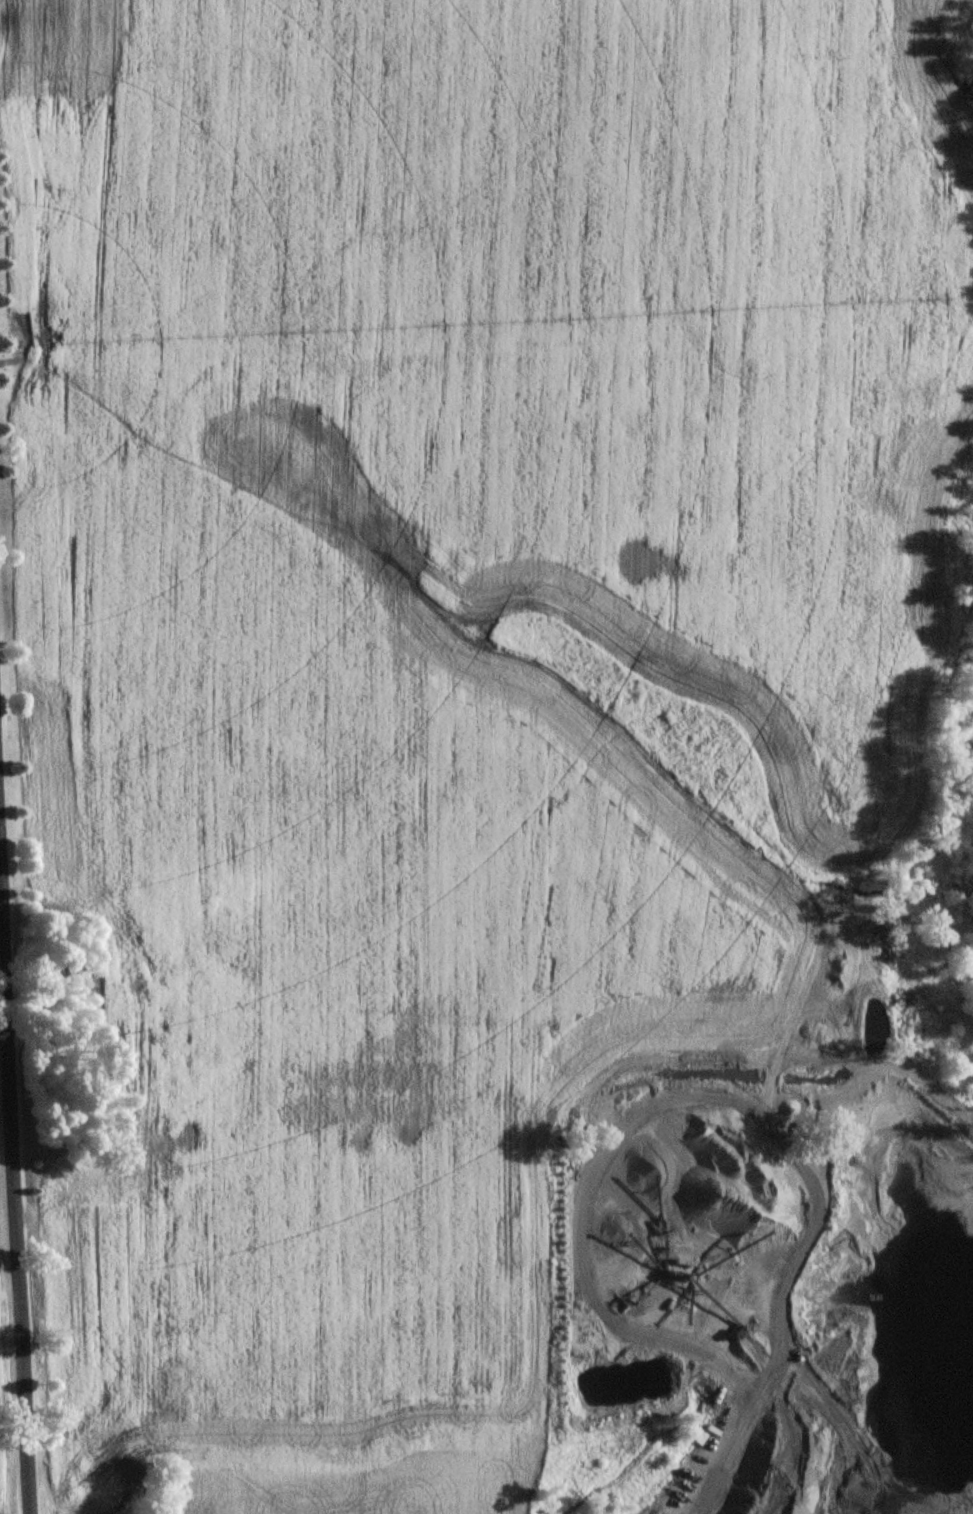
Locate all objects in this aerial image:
road: (15, 1242)

